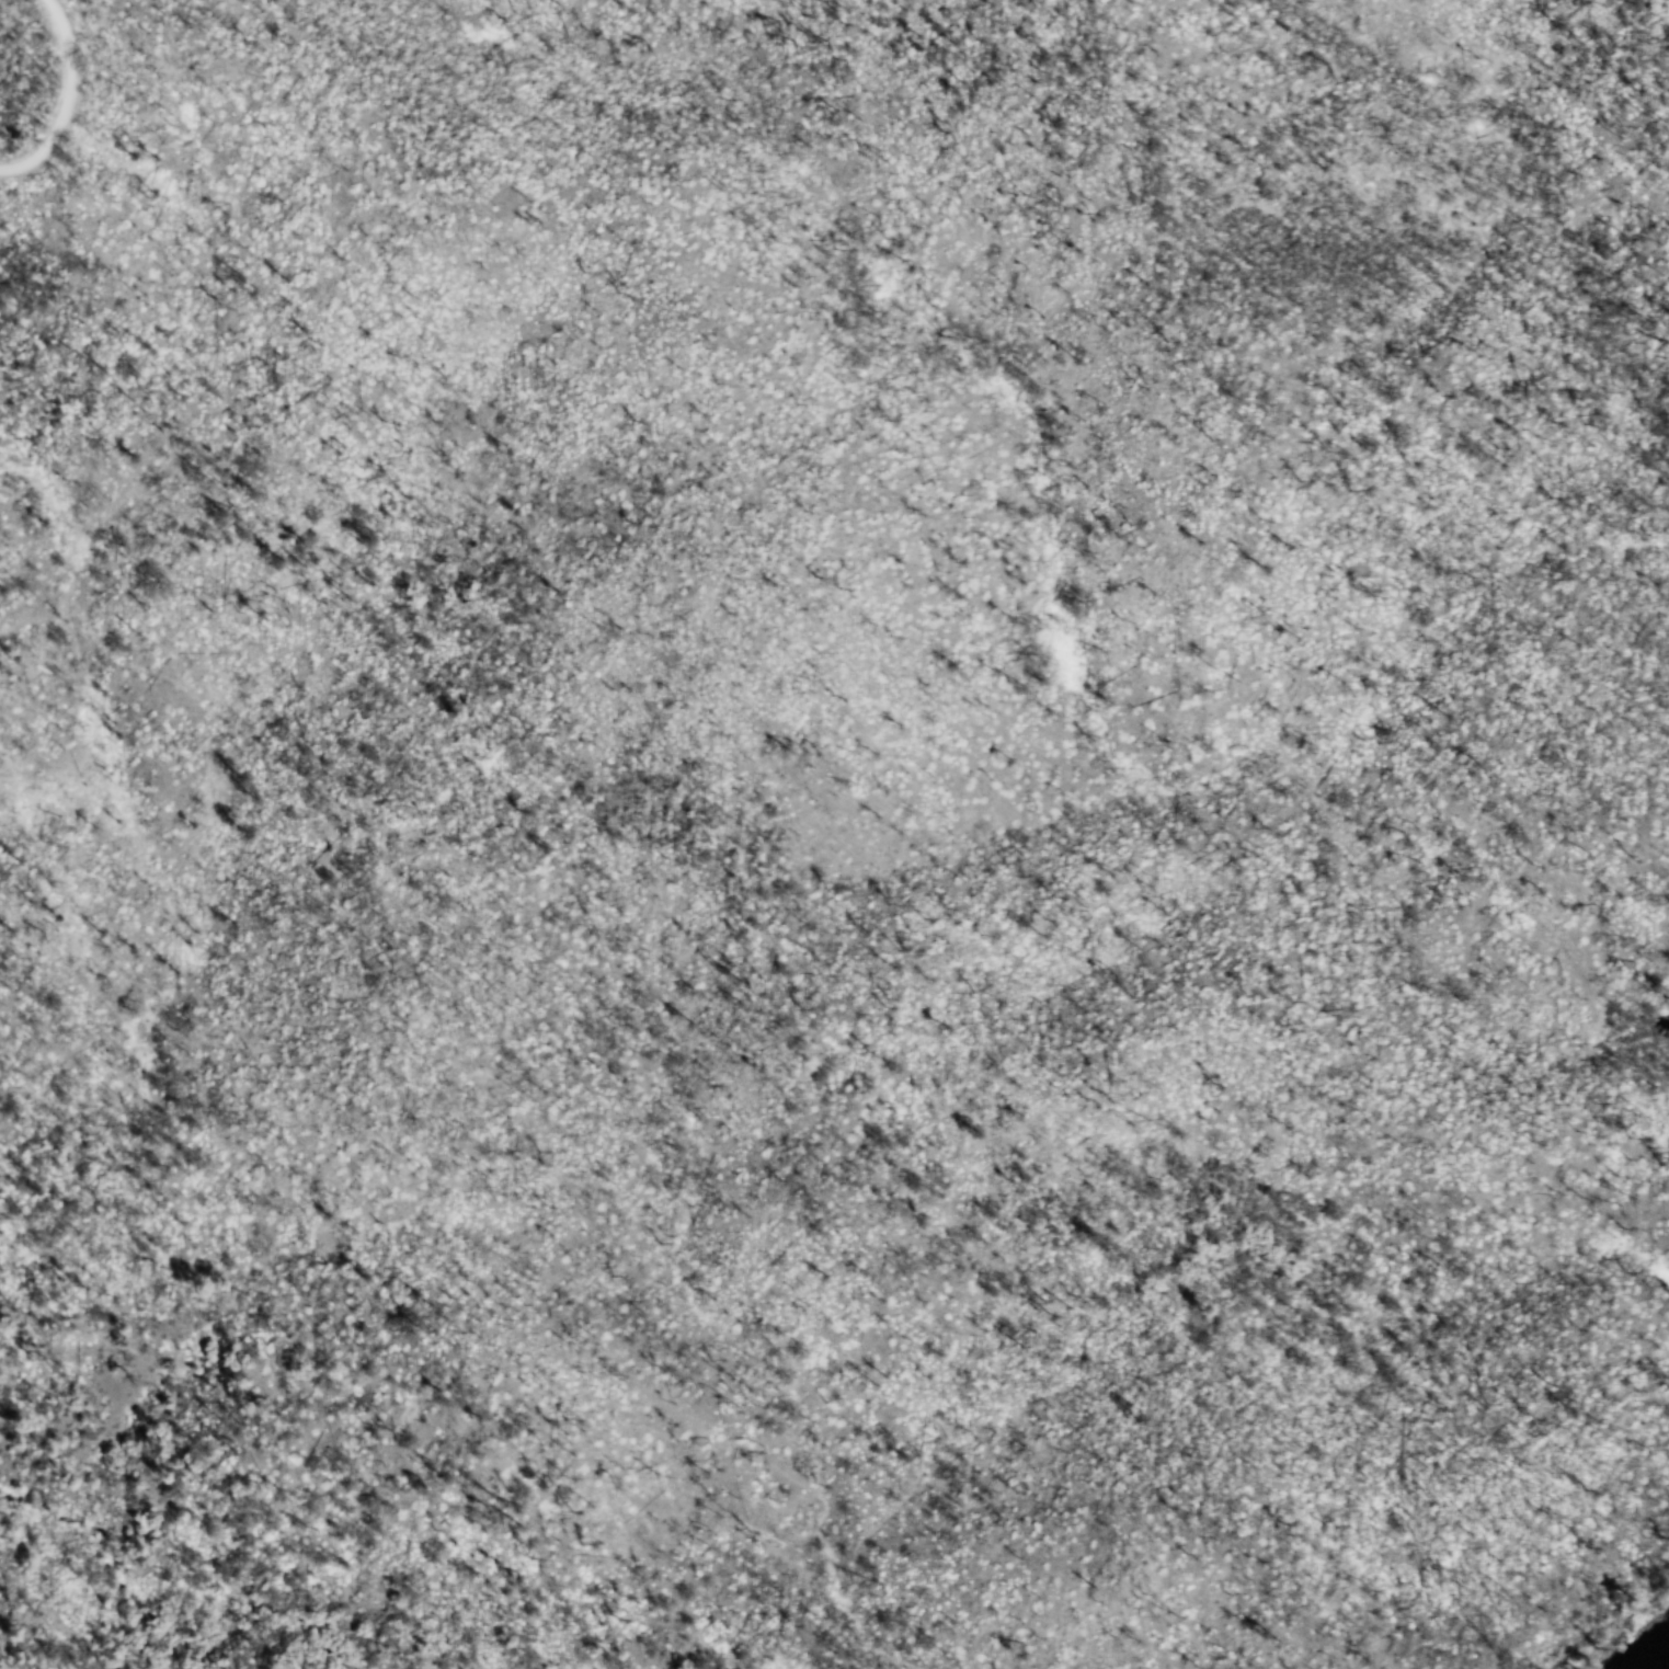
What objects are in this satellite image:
road: (69, 101)

